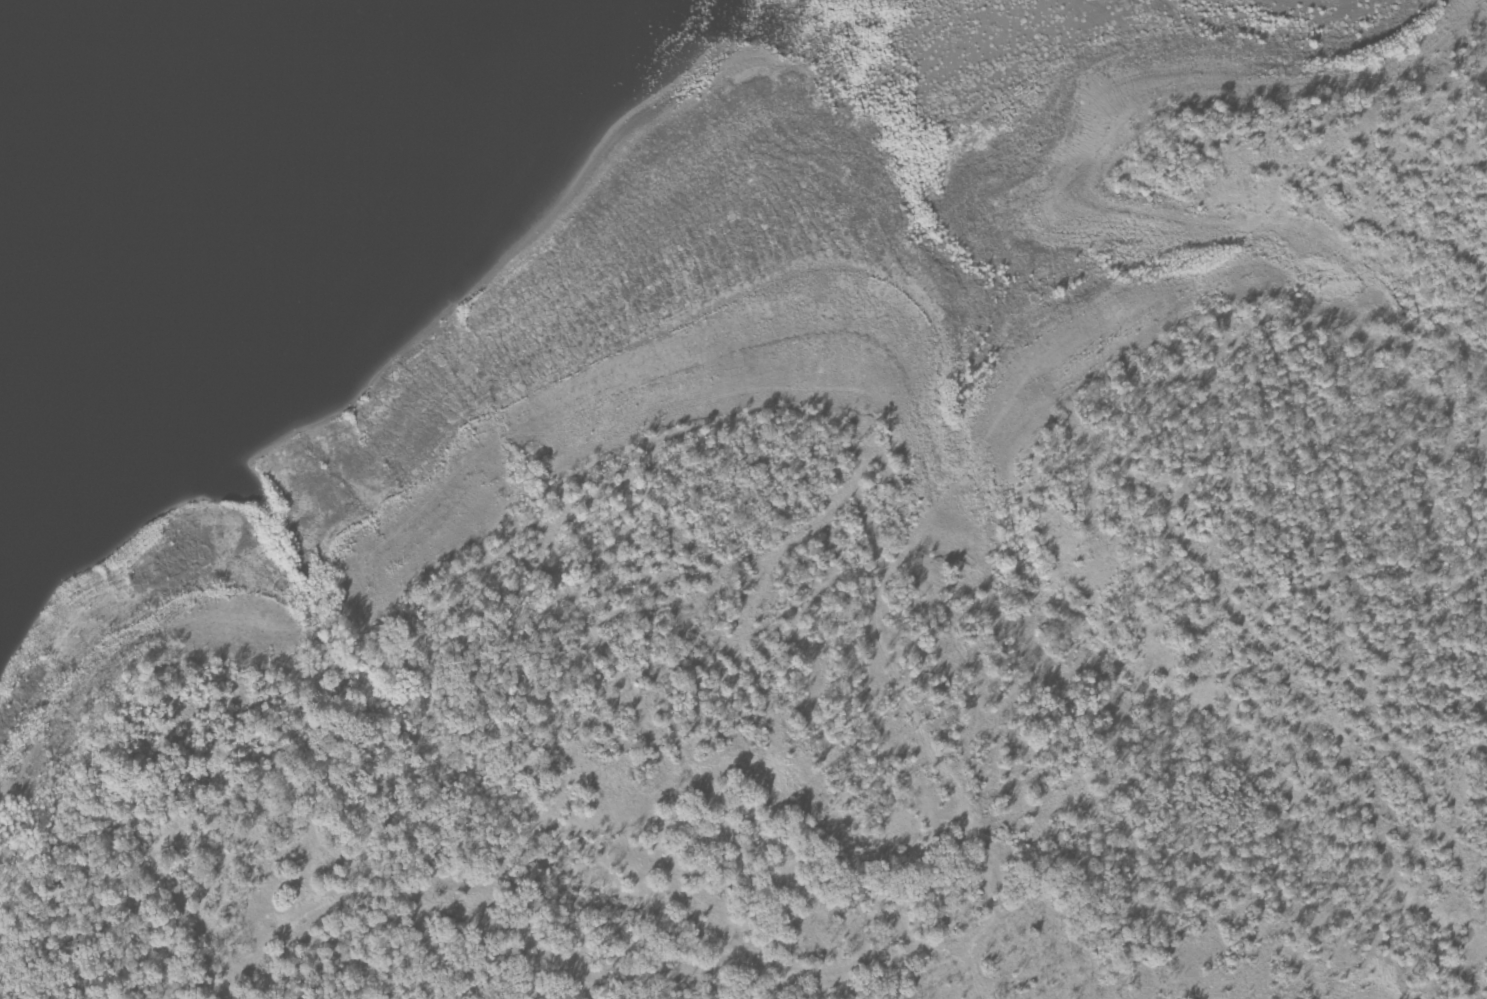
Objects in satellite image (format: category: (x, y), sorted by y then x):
road: (150, 857)
road: (685, 976)

